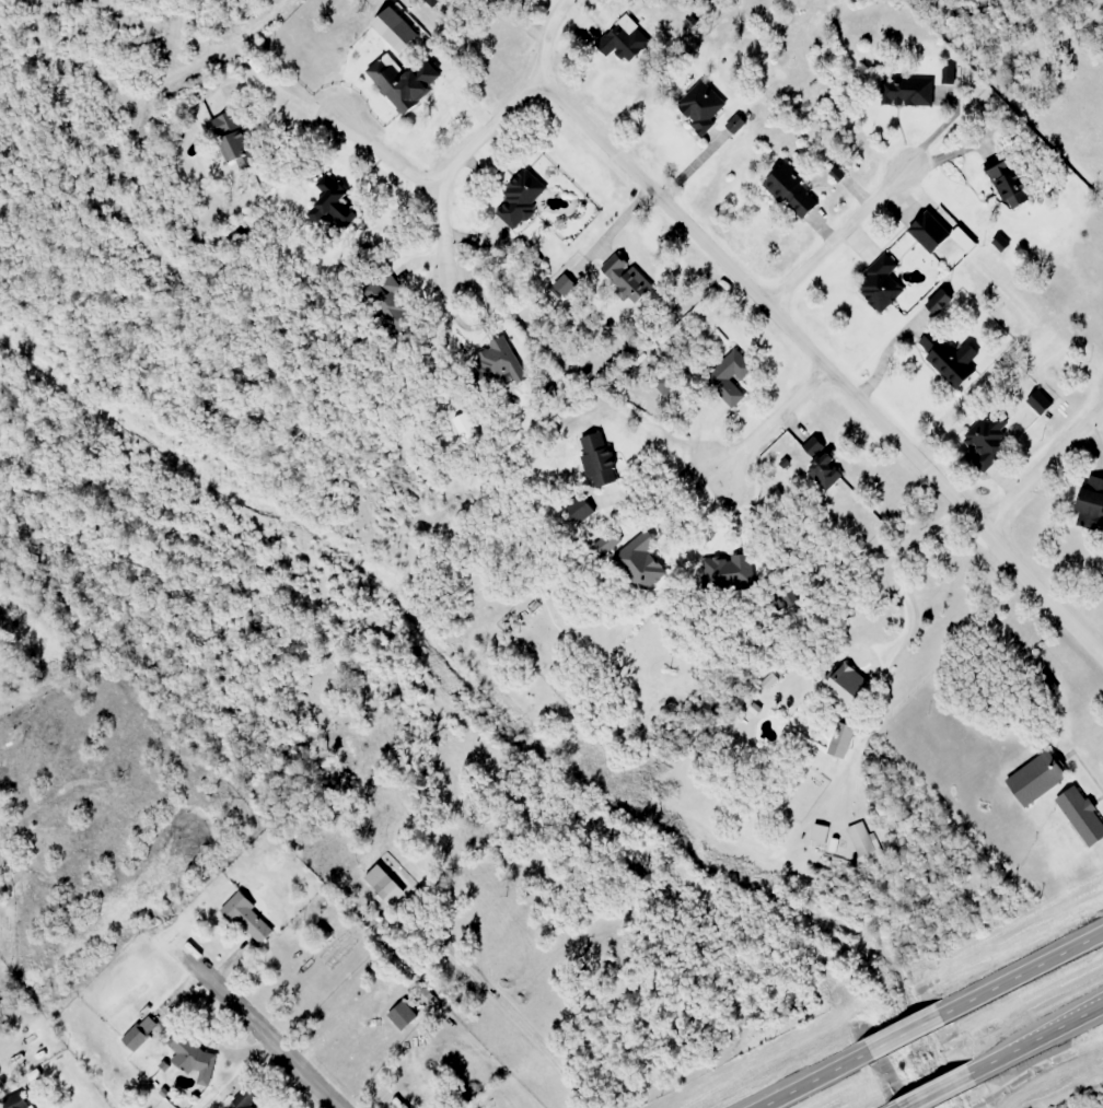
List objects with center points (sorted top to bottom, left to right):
building: (434, 1)
building: (398, 31)
building: (626, 46)
building: (404, 83)
building: (907, 91)
building: (703, 106)
building: (736, 125)
road: (484, 135)
building: (240, 139)
road: (388, 155)
building: (1008, 182)
building: (793, 193)
building: (521, 198)
building: (330, 206)
building: (932, 232)
road: (837, 238)
building: (625, 276)
building: (882, 284)
building: (951, 358)
building: (495, 360)
road: (824, 362)
building: (728, 380)
building: (1042, 400)
road: (774, 419)
building: (989, 440)
building: (600, 460)
building: (823, 464)
road: (1043, 471)
building: (1093, 502)
building: (582, 511)
building: (650, 567)
building: (736, 569)
building: (848, 687)
building: (841, 739)
building: (1038, 779)
building: (1083, 815)
building: (821, 833)
building: (862, 839)
building: (386, 885)
building: (248, 919)
road: (932, 1019)
road: (264, 1031)
building: (141, 1033)
road: (1007, 1057)
building: (193, 1058)
building: (245, 1099)

